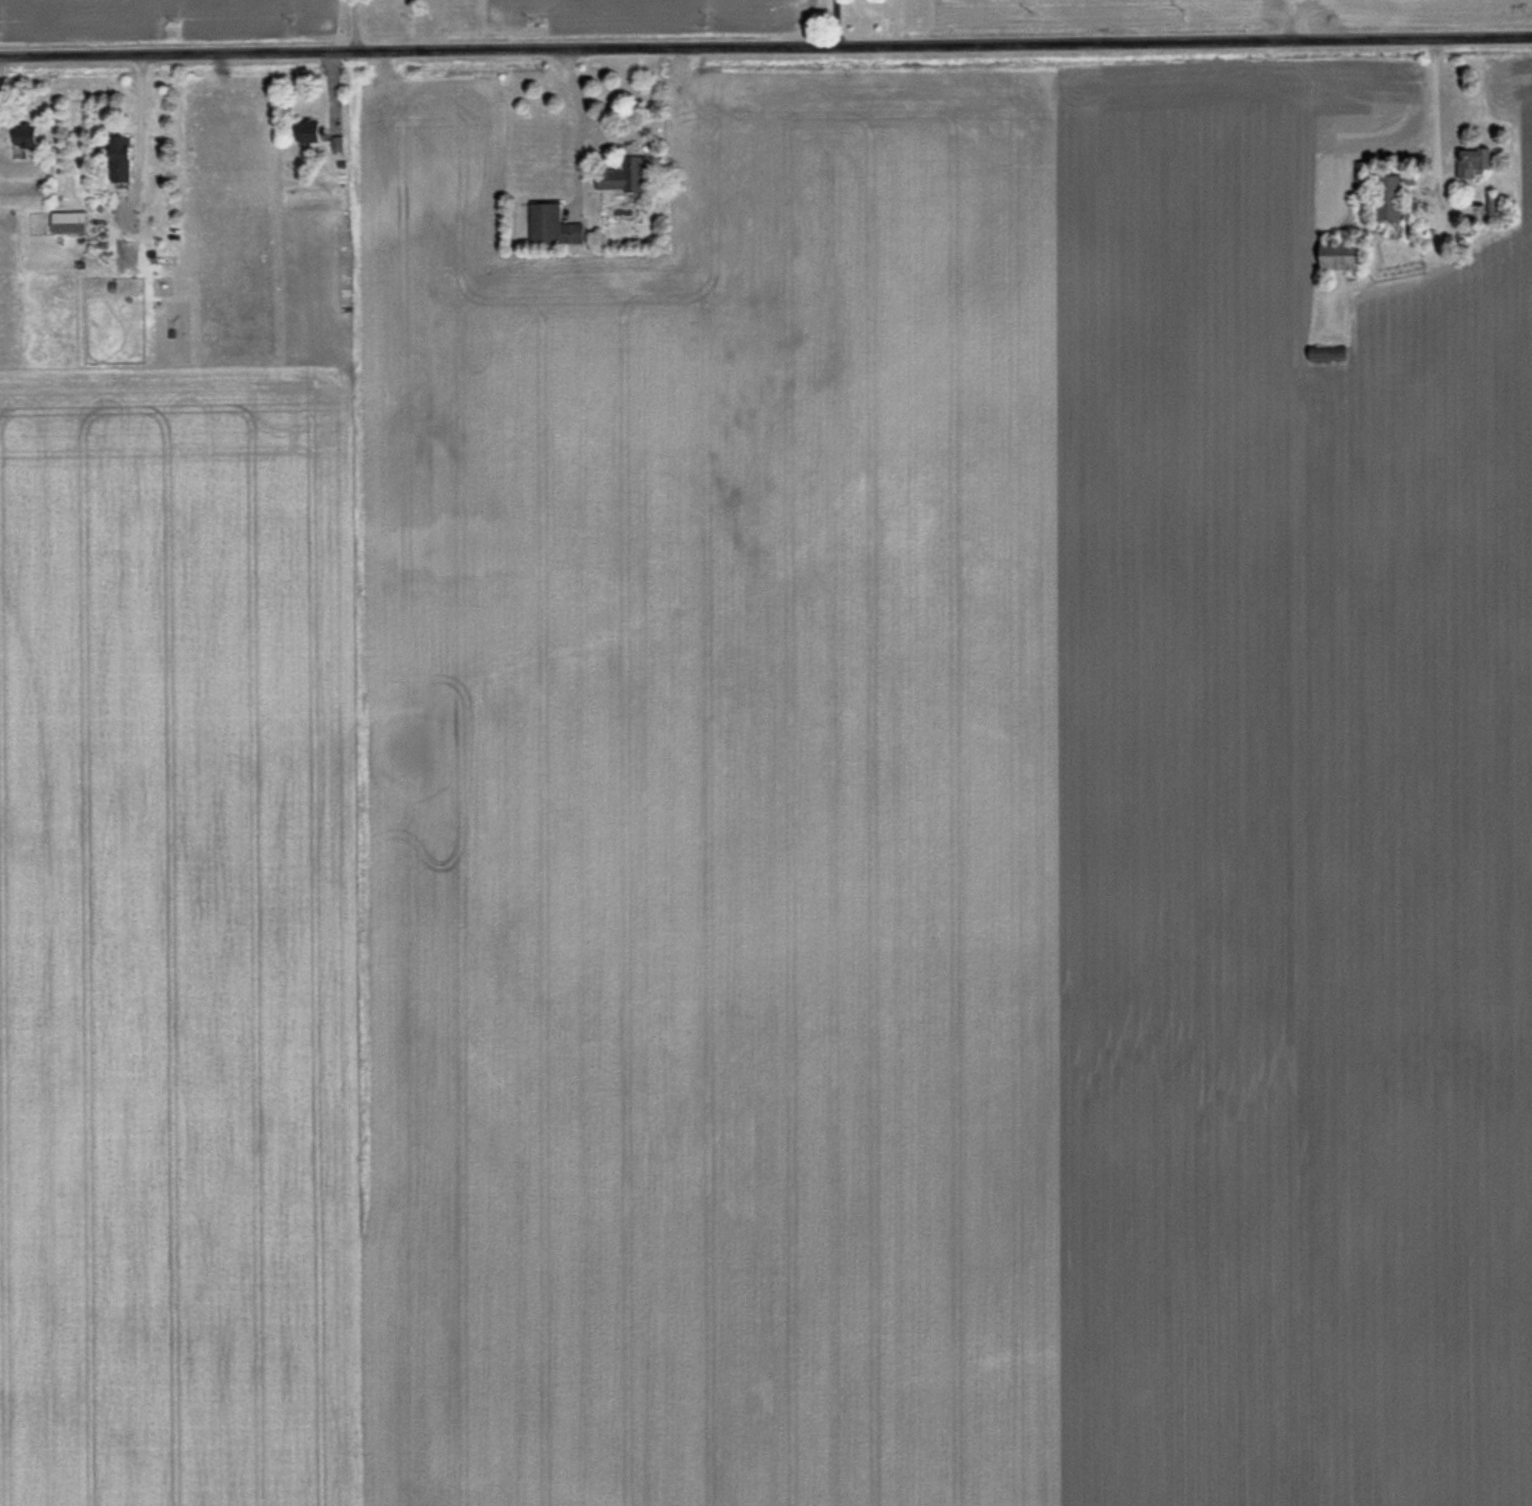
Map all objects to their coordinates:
road: (351, 28)
road: (766, 52)
road: (135, 117)
road: (578, 121)
building: (312, 132)
building: (28, 135)
building: (125, 160)
building: (1476, 162)
building: (1364, 172)
building: (625, 177)
building: (1394, 198)
building: (72, 223)
building: (556, 227)
building: (1348, 256)
building: (73, 297)
building: (1332, 354)

